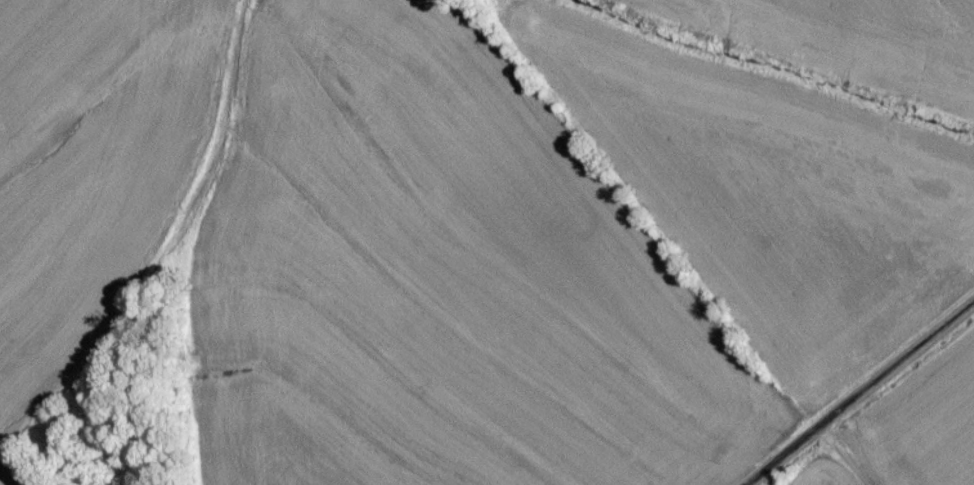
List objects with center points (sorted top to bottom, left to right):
road: (861, 394)

